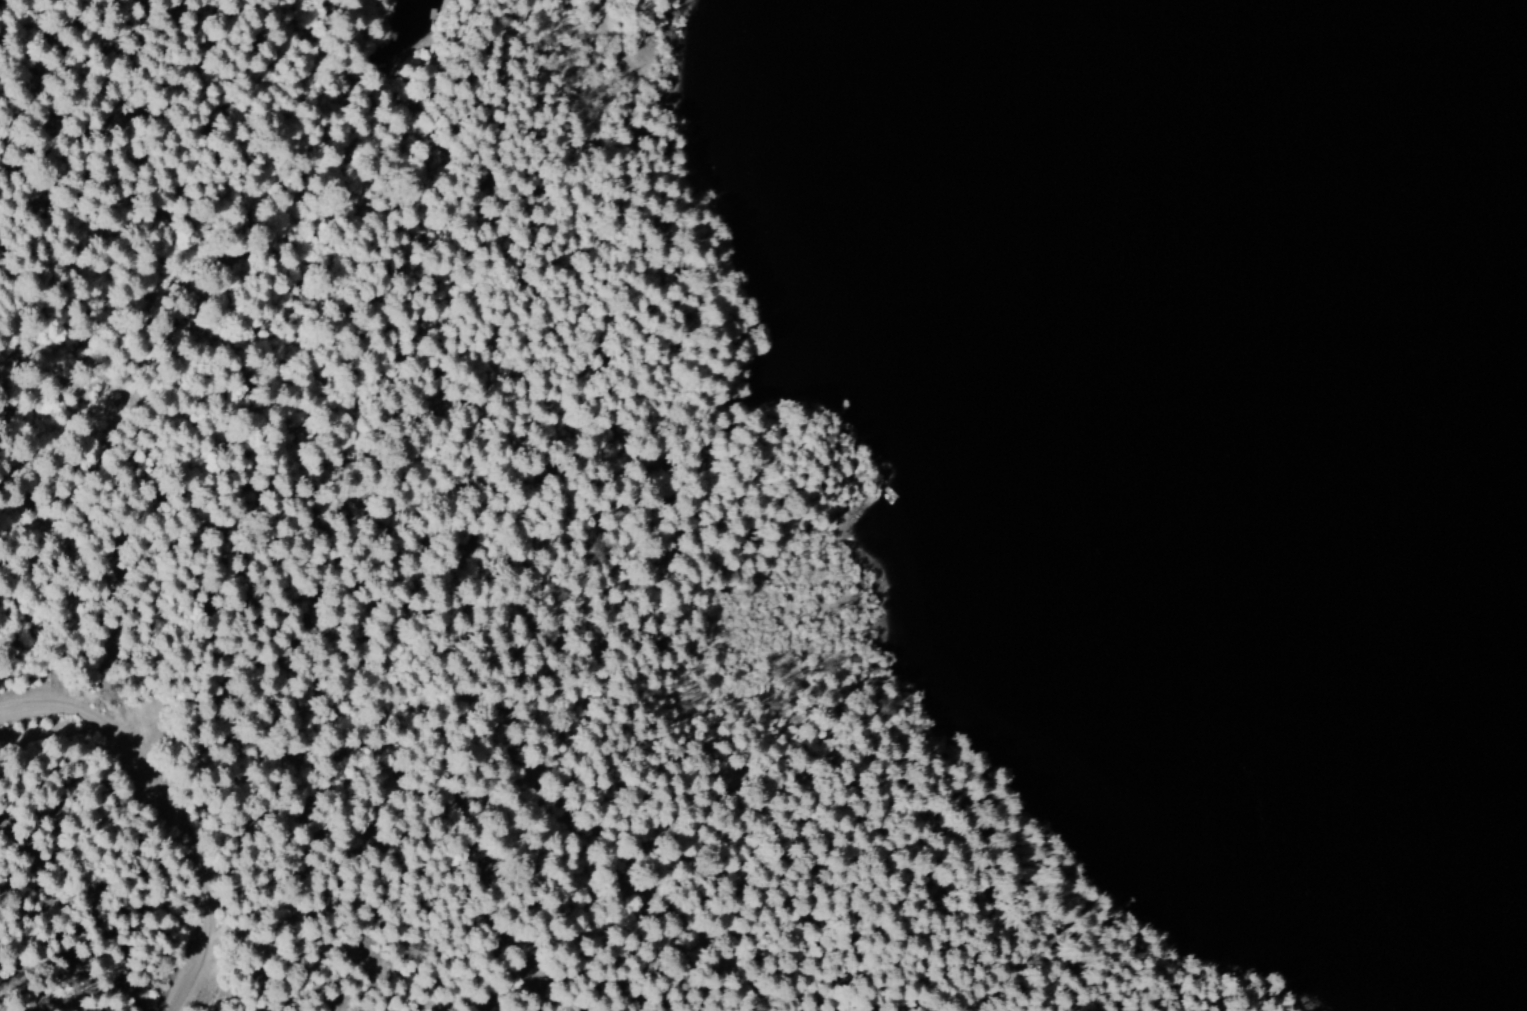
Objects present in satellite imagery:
river: (1346, 195)
road: (192, 805)

